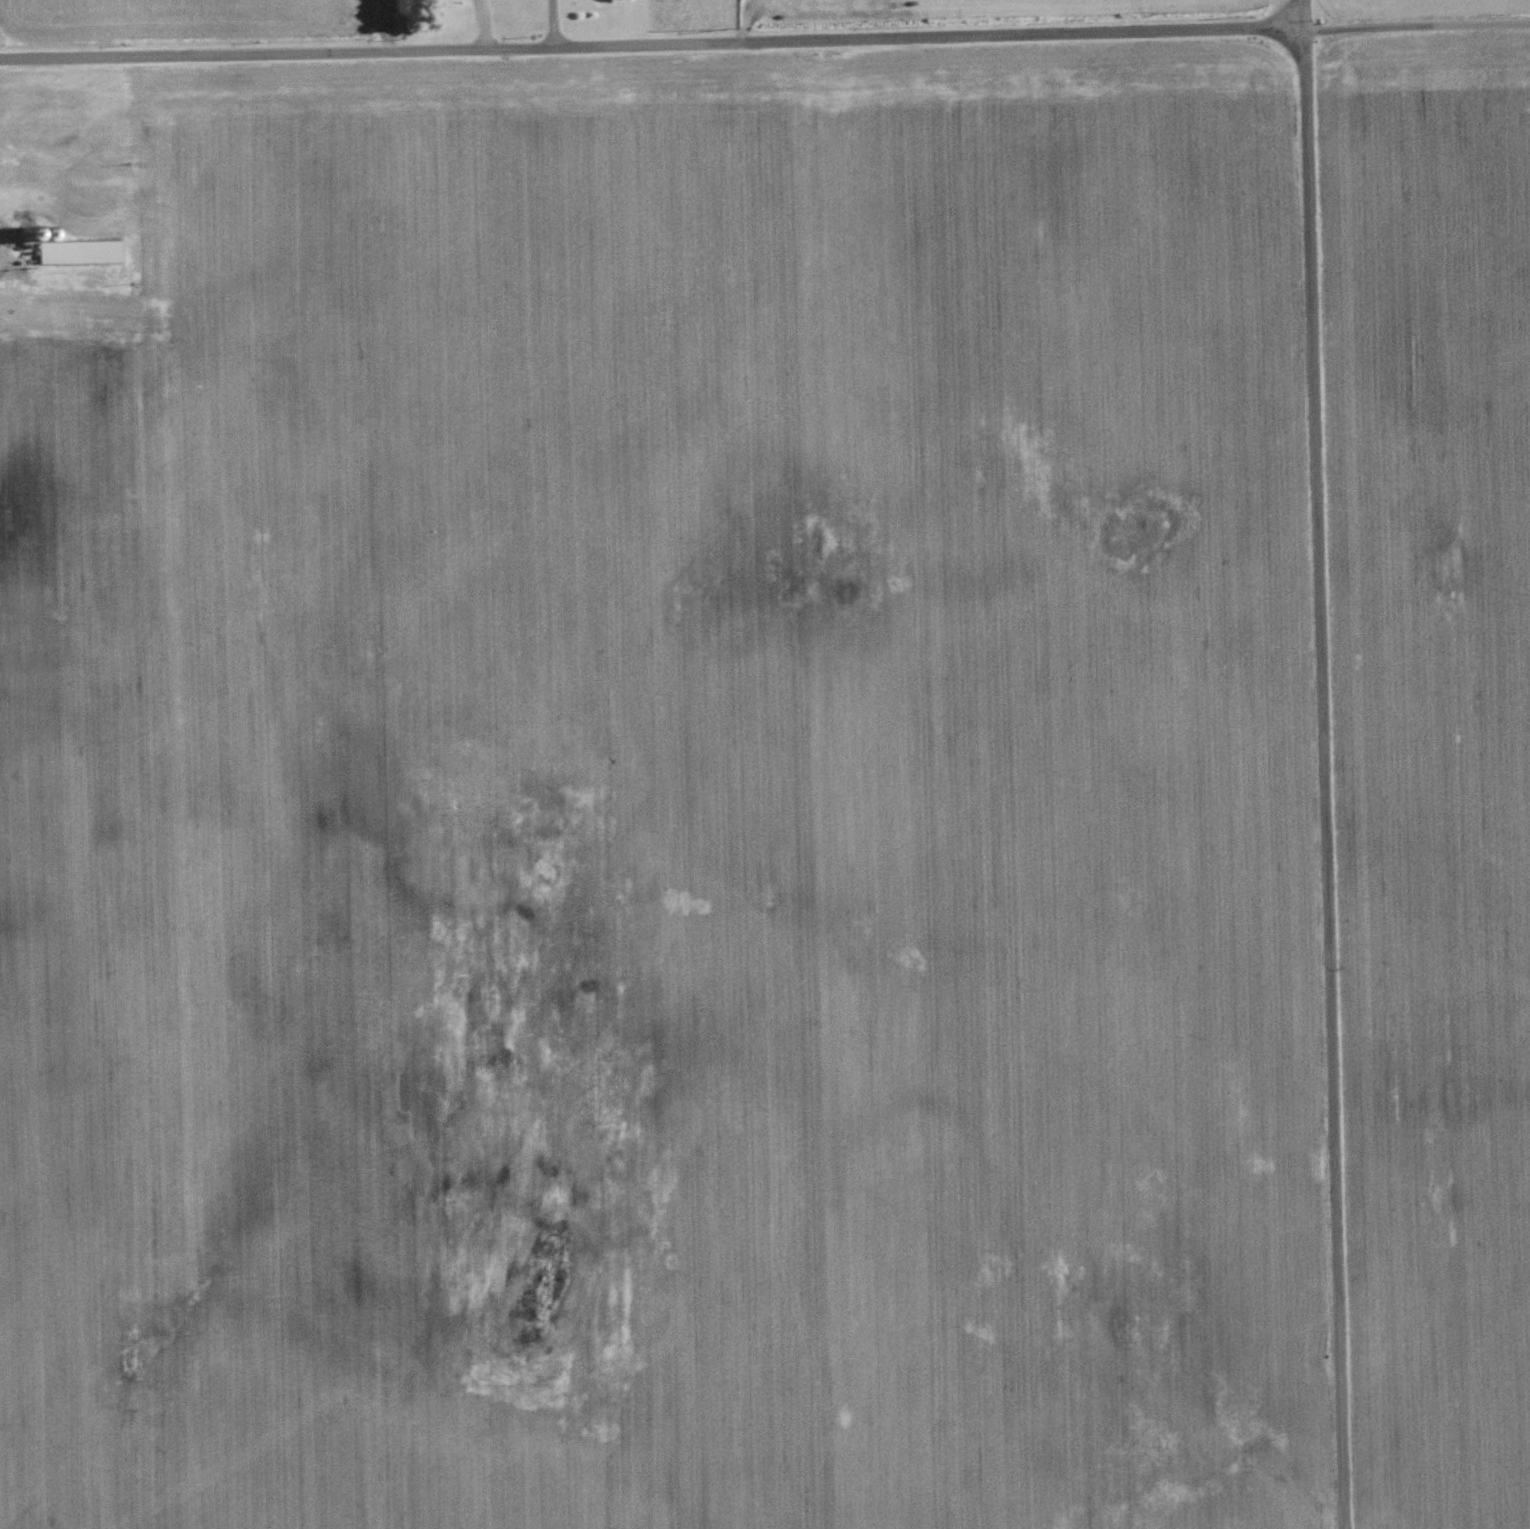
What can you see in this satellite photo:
road: (1301, 14)
road: (549, 24)
road: (1415, 24)
road: (650, 44)
building: (104, 251)
road: (1324, 778)

